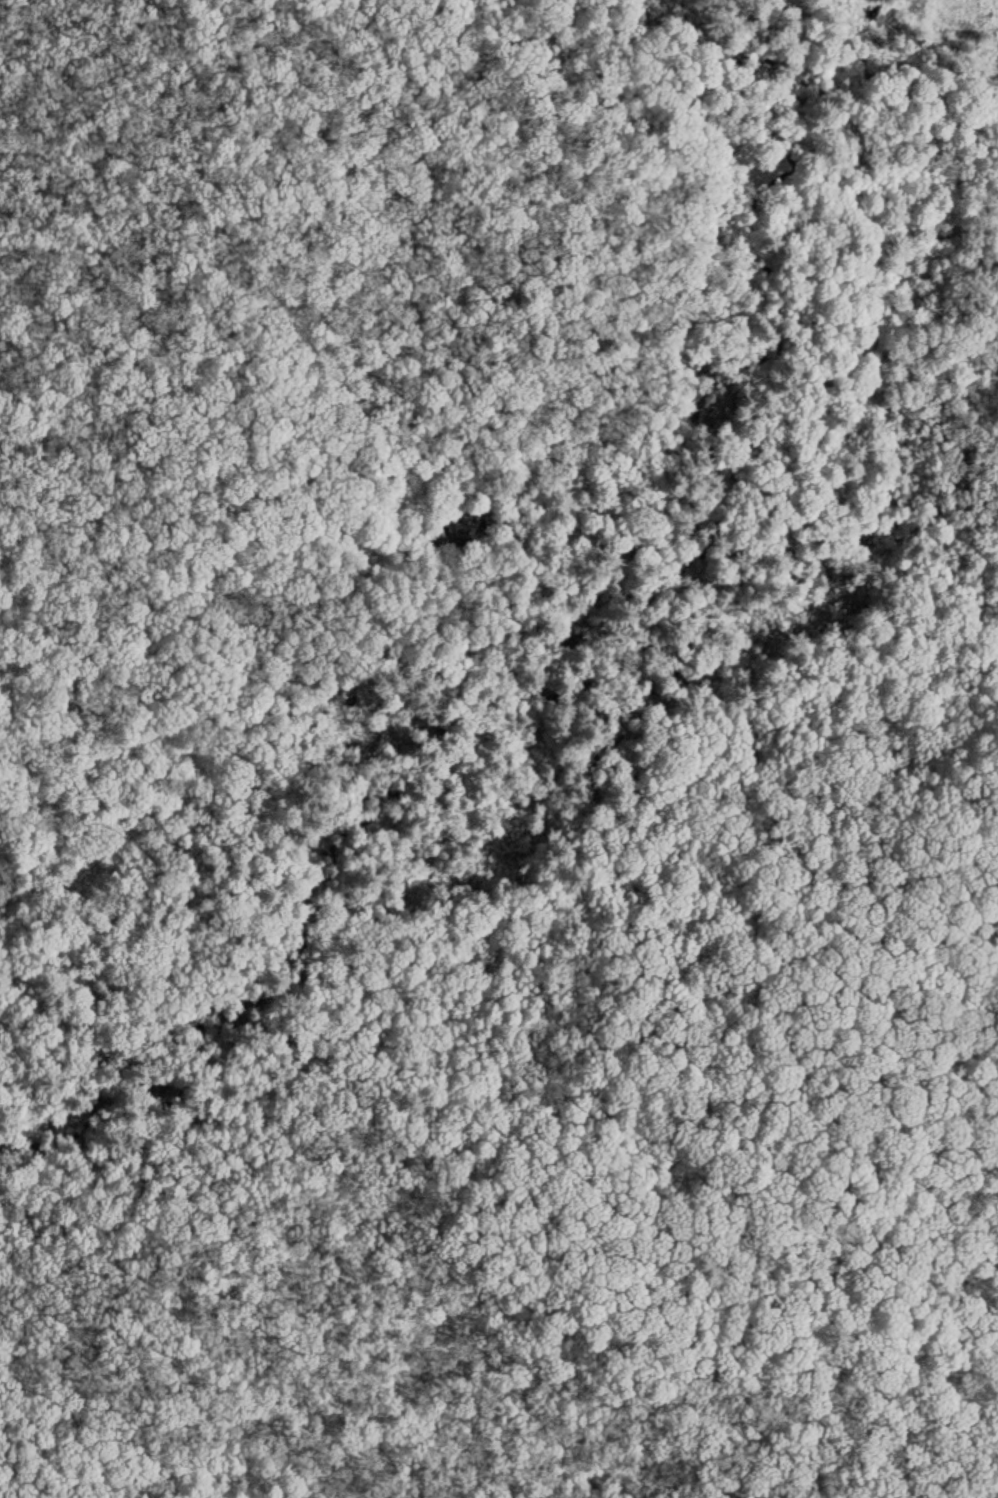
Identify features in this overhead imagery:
road: (342, 167)
road: (915, 185)

